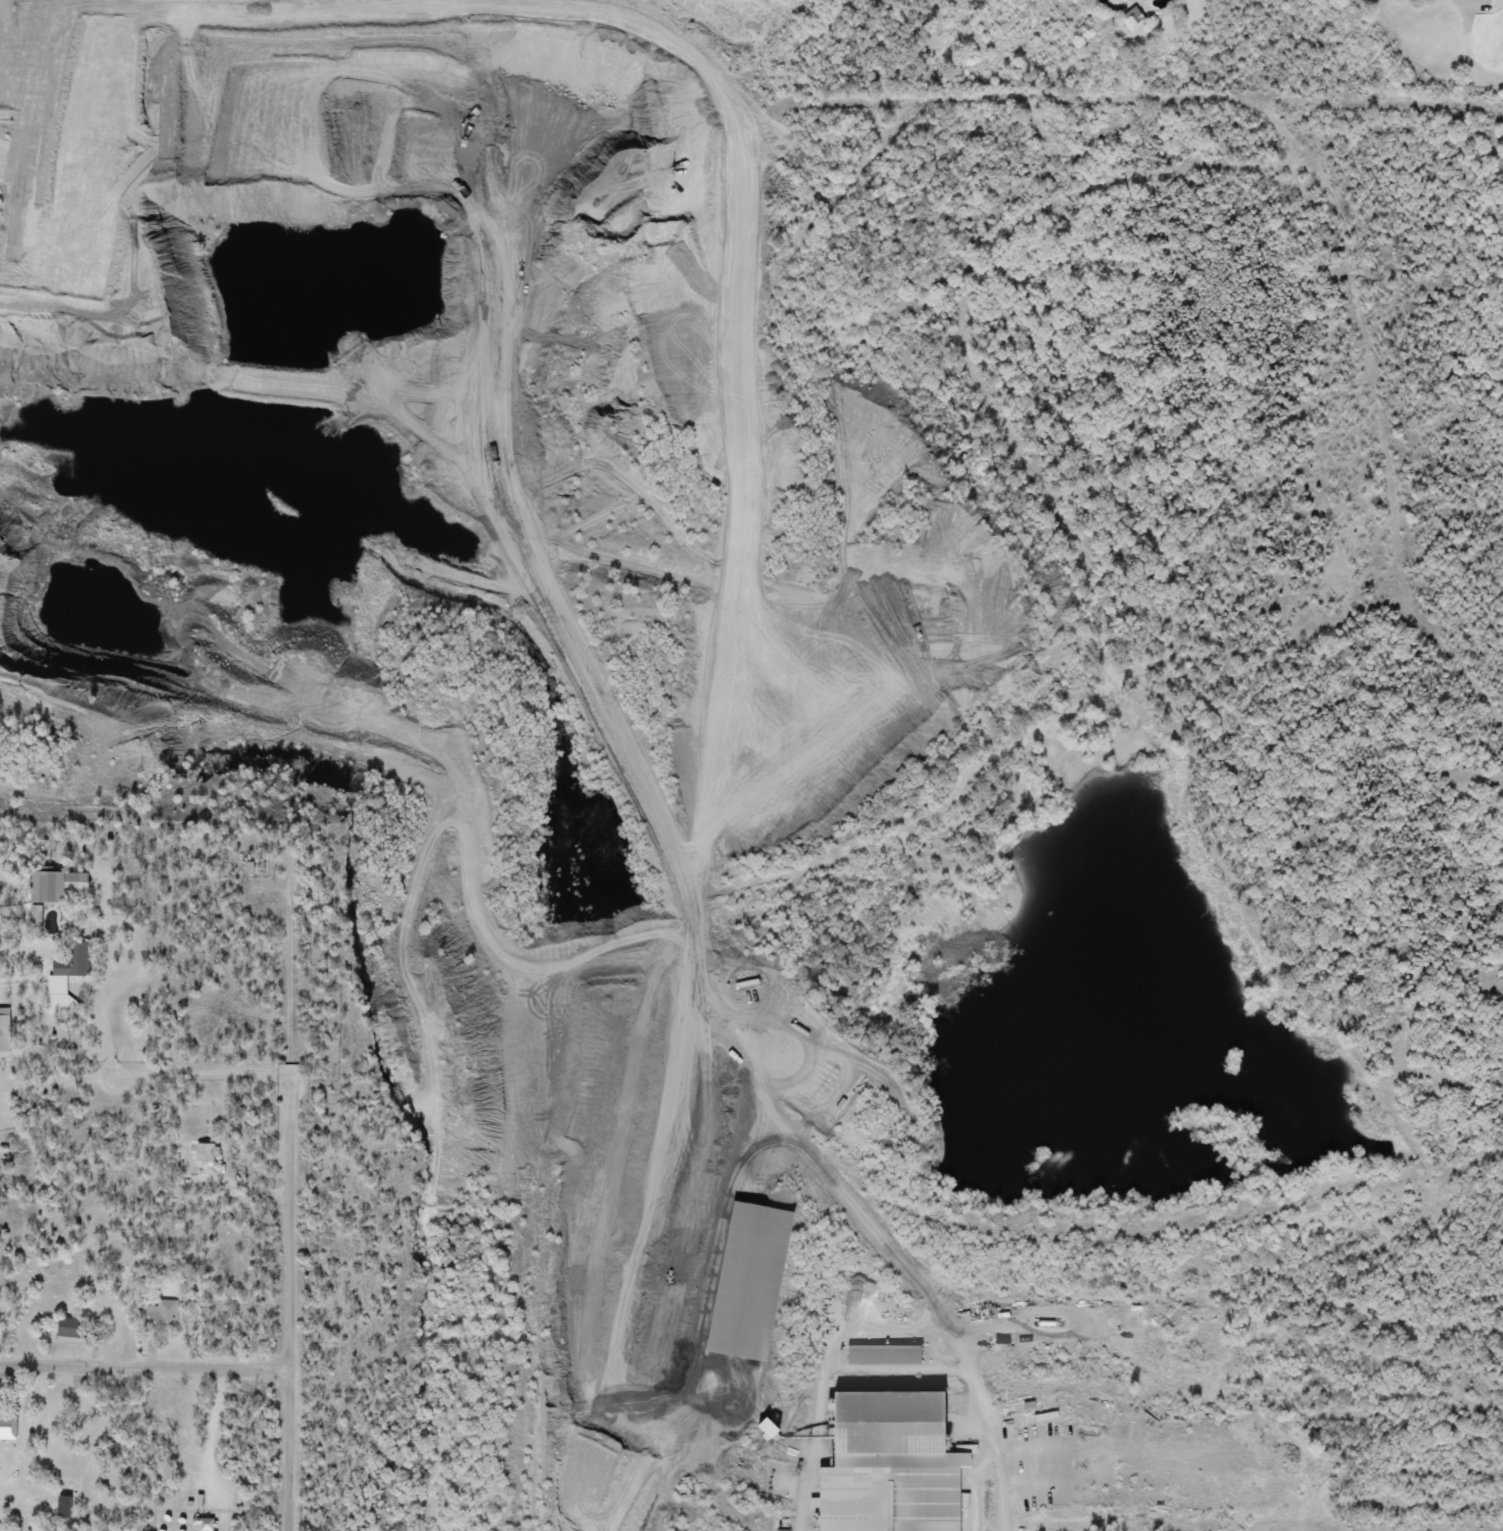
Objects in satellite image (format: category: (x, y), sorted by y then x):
building: (1130, 20)
road: (458, 468)
building: (56, 987)
building: (4, 1030)
road: (115, 1059)
road: (691, 1081)
building: (206, 1153)
road: (224, 1189)
road: (885, 1243)
building: (741, 1280)
road: (289, 1300)
building: (160, 1315)
building: (67, 1328)
building: (879, 1354)
road: (144, 1365)
building: (7, 1428)
building: (884, 1463)
road: (980, 1494)
building: (63, 1508)
road: (1252, 1523)
building: (203, 1525)
road: (1003, 1529)

